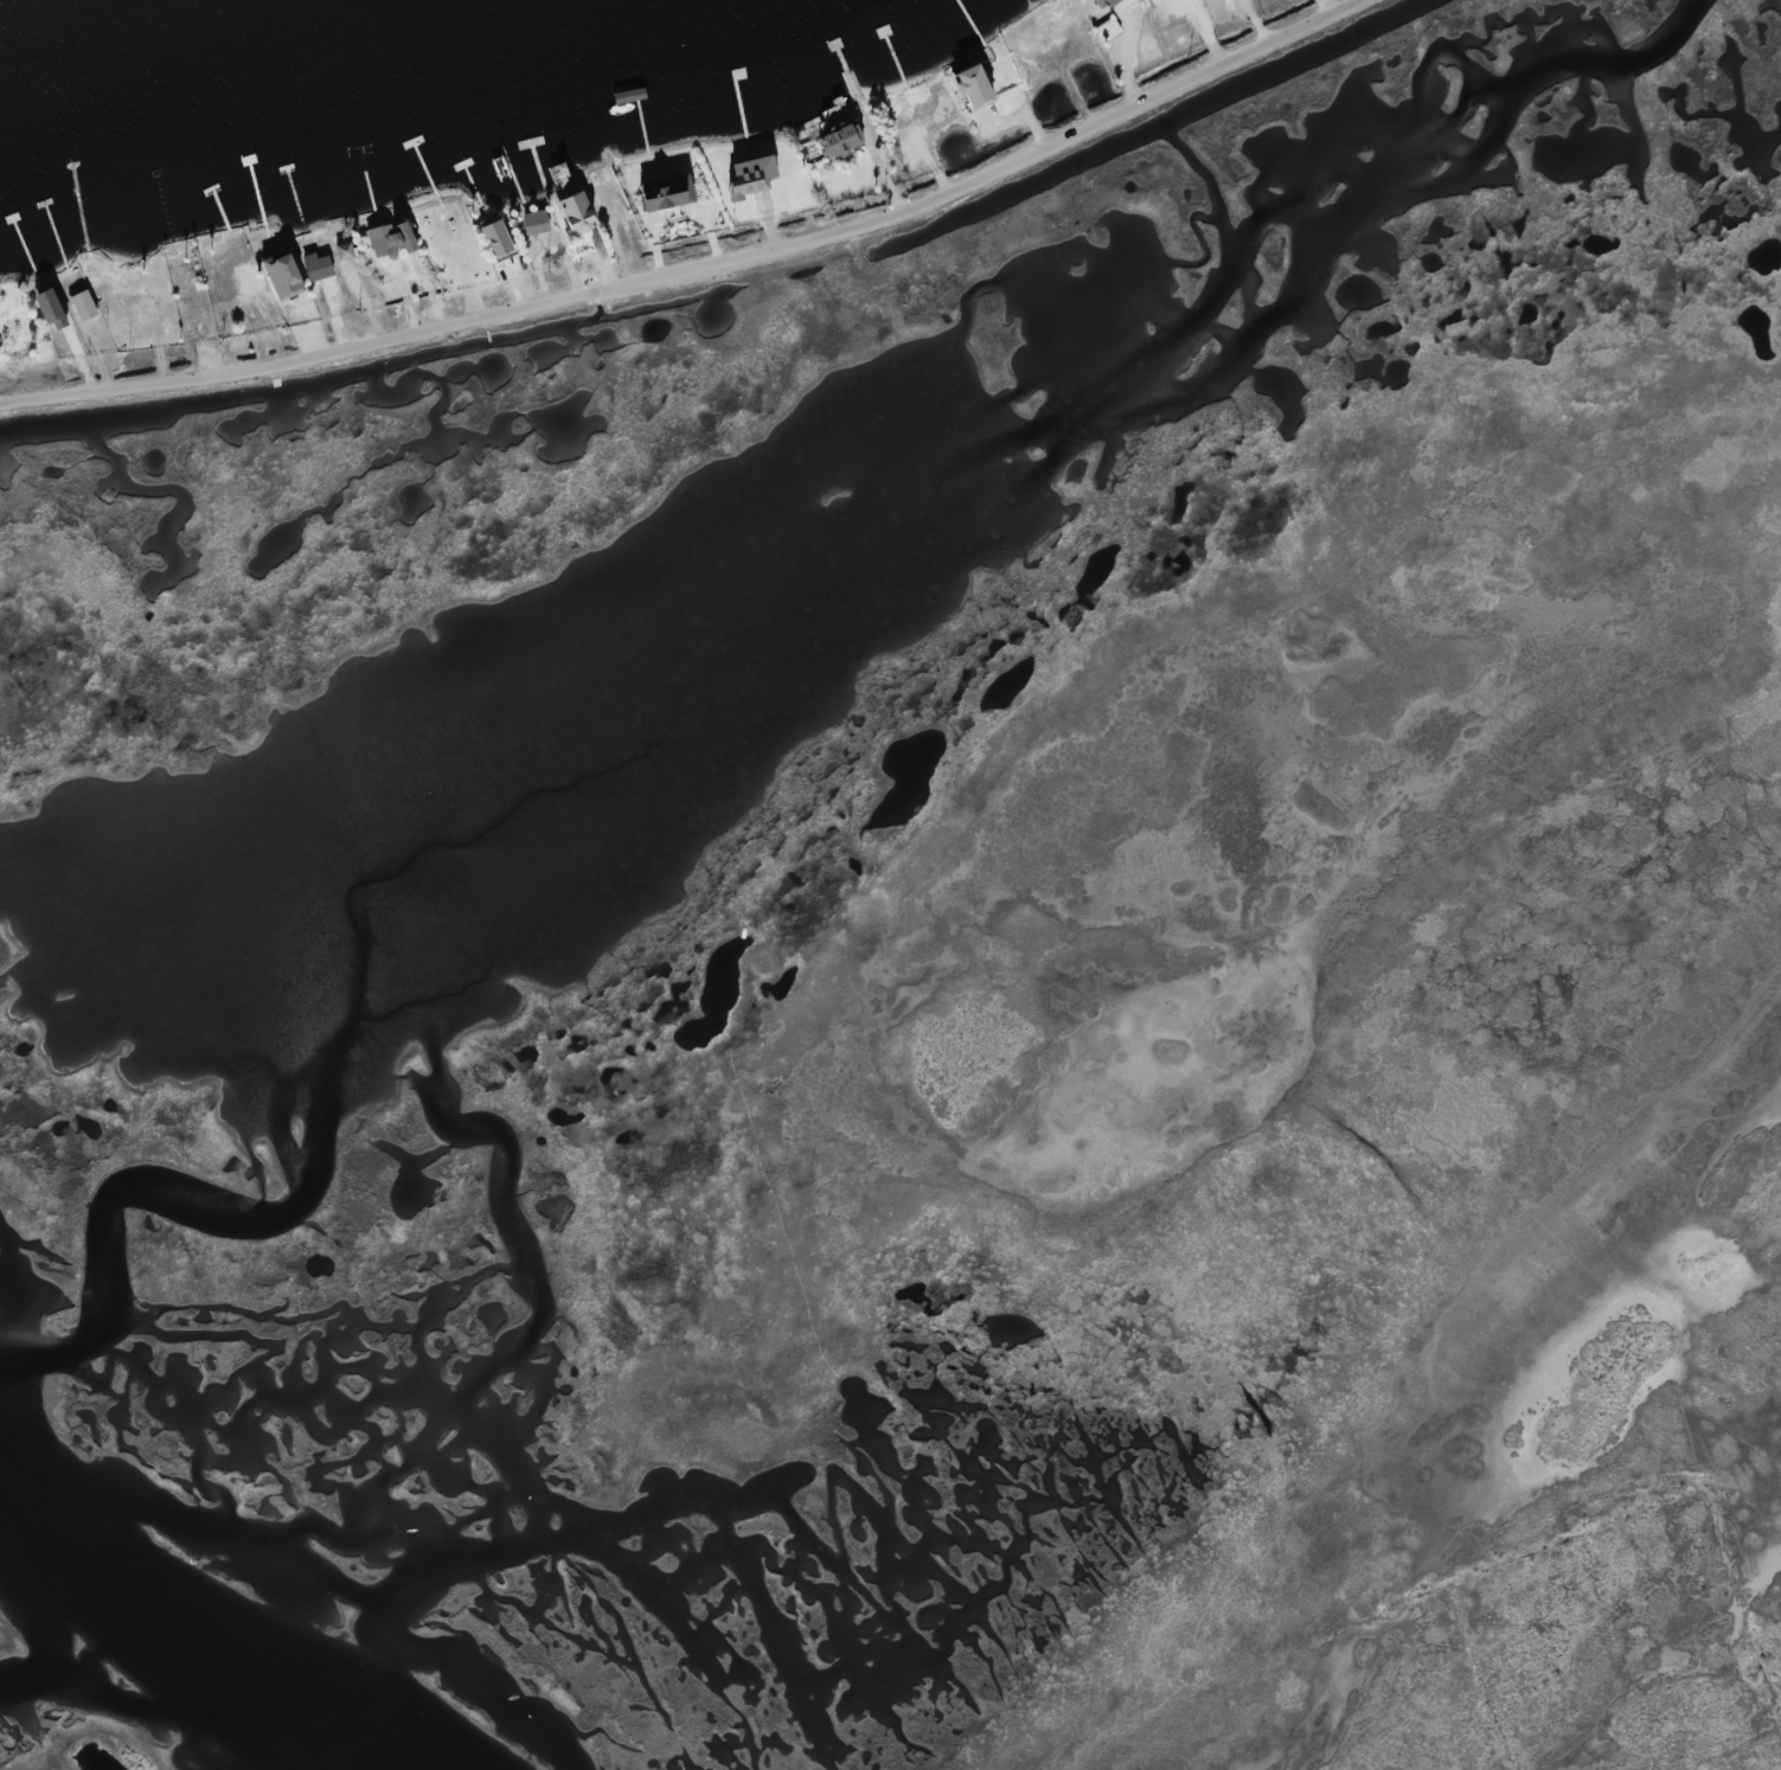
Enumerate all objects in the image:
building: (1103, 4)
building: (1108, 28)
building: (972, 86)
building: (840, 137)
building: (751, 177)
building: (666, 192)
building: (576, 213)
building: (537, 223)
building: (496, 237)
building: (392, 239)
building: (345, 251)
building: (318, 267)
road: (701, 268)
building: (282, 275)
building: (82, 306)
building: (52, 309)

